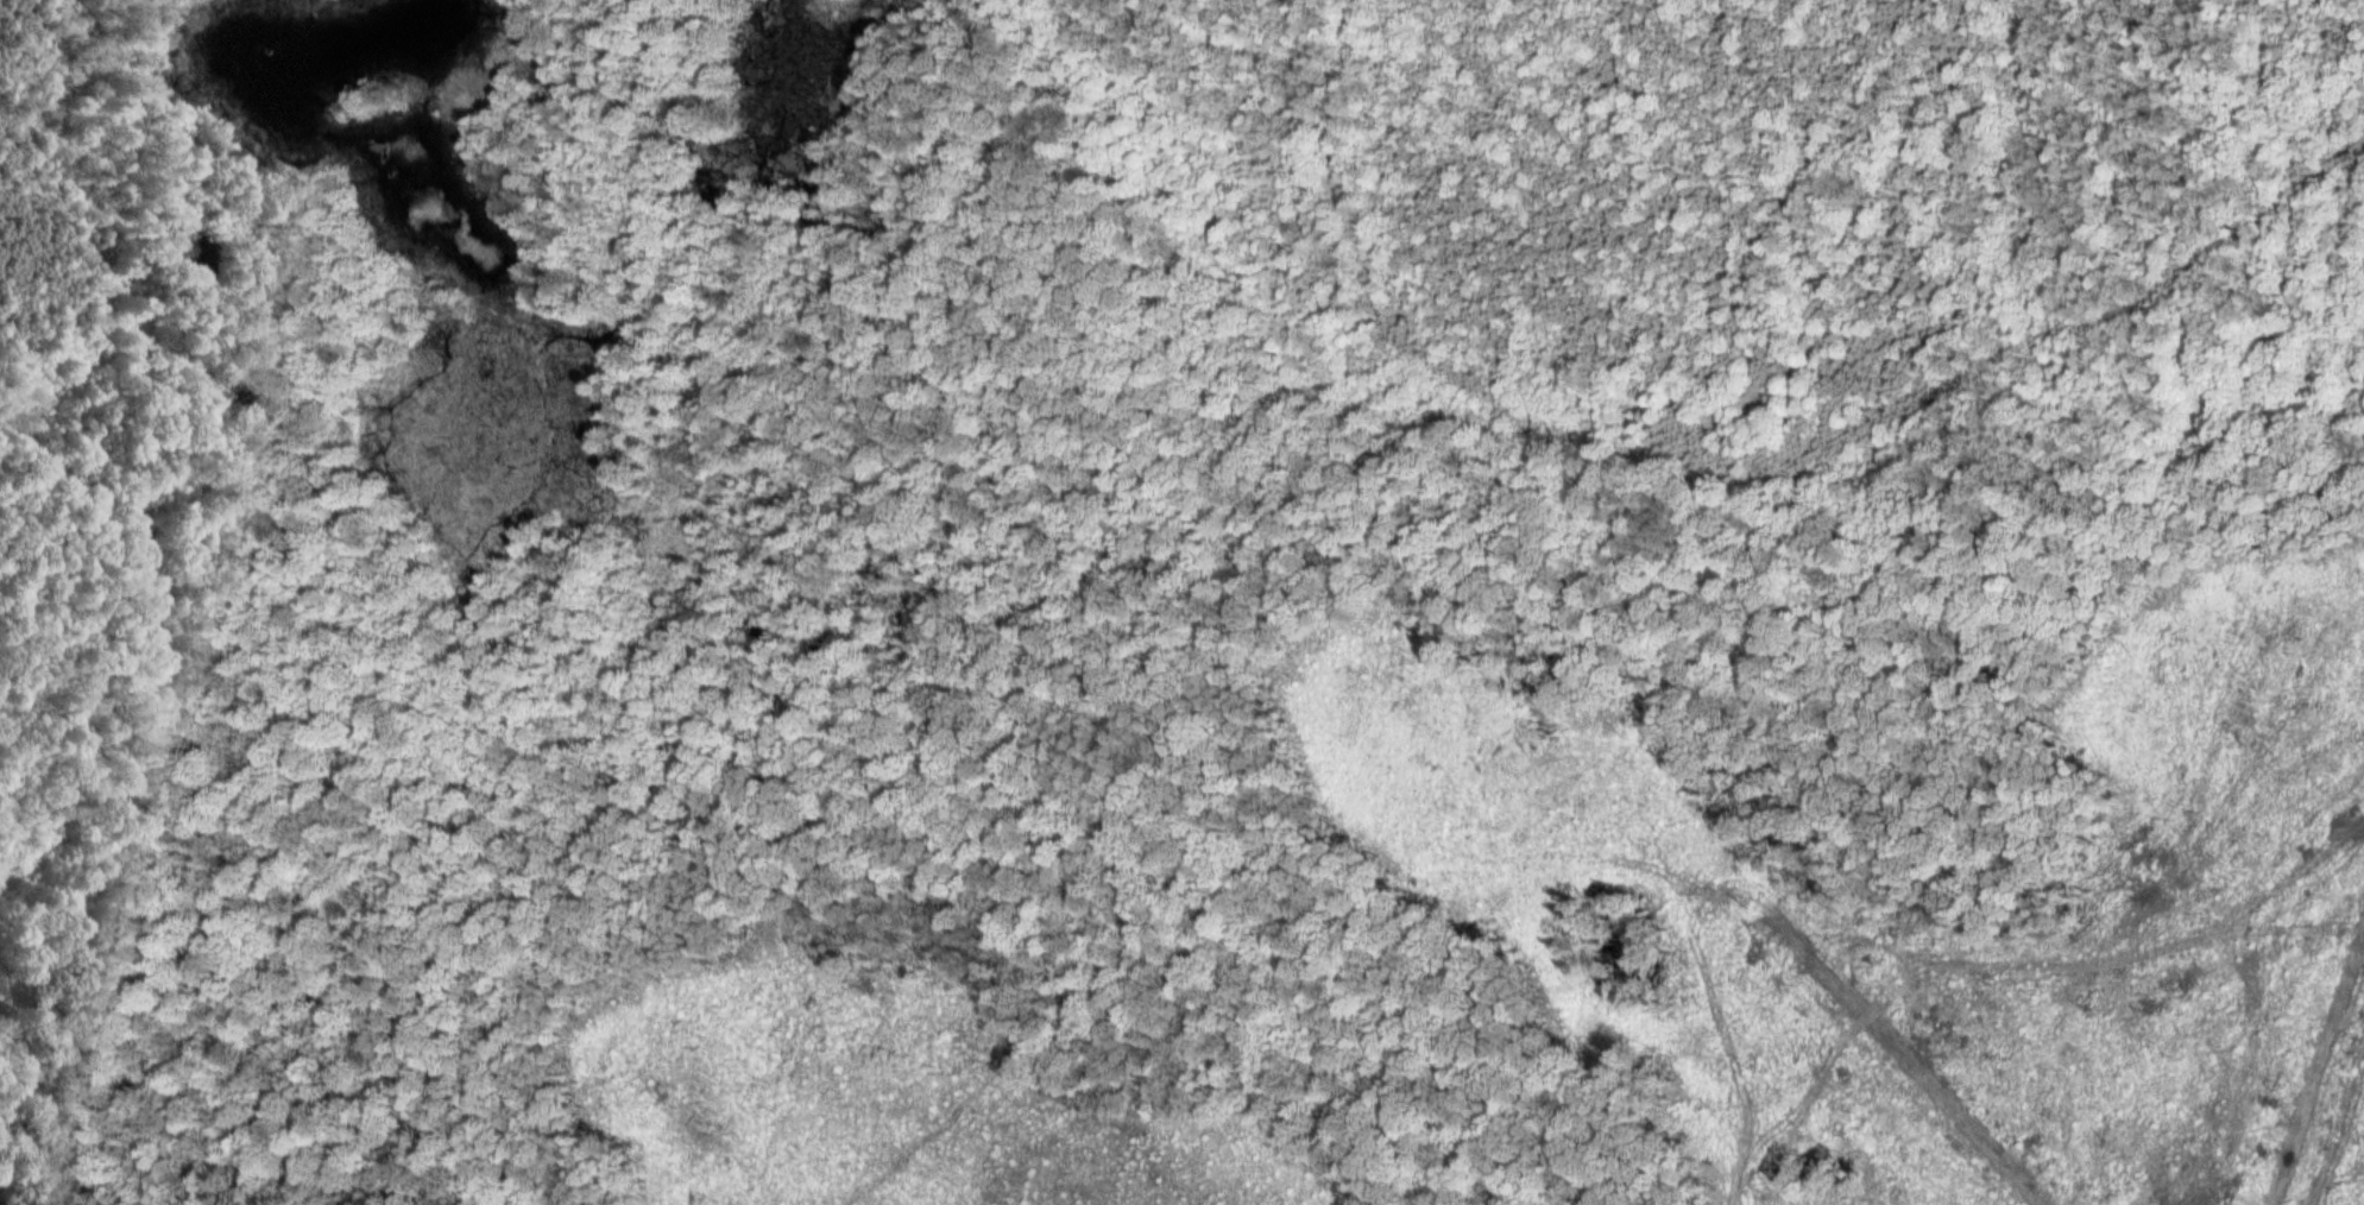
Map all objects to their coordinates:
road: (58, 1110)

